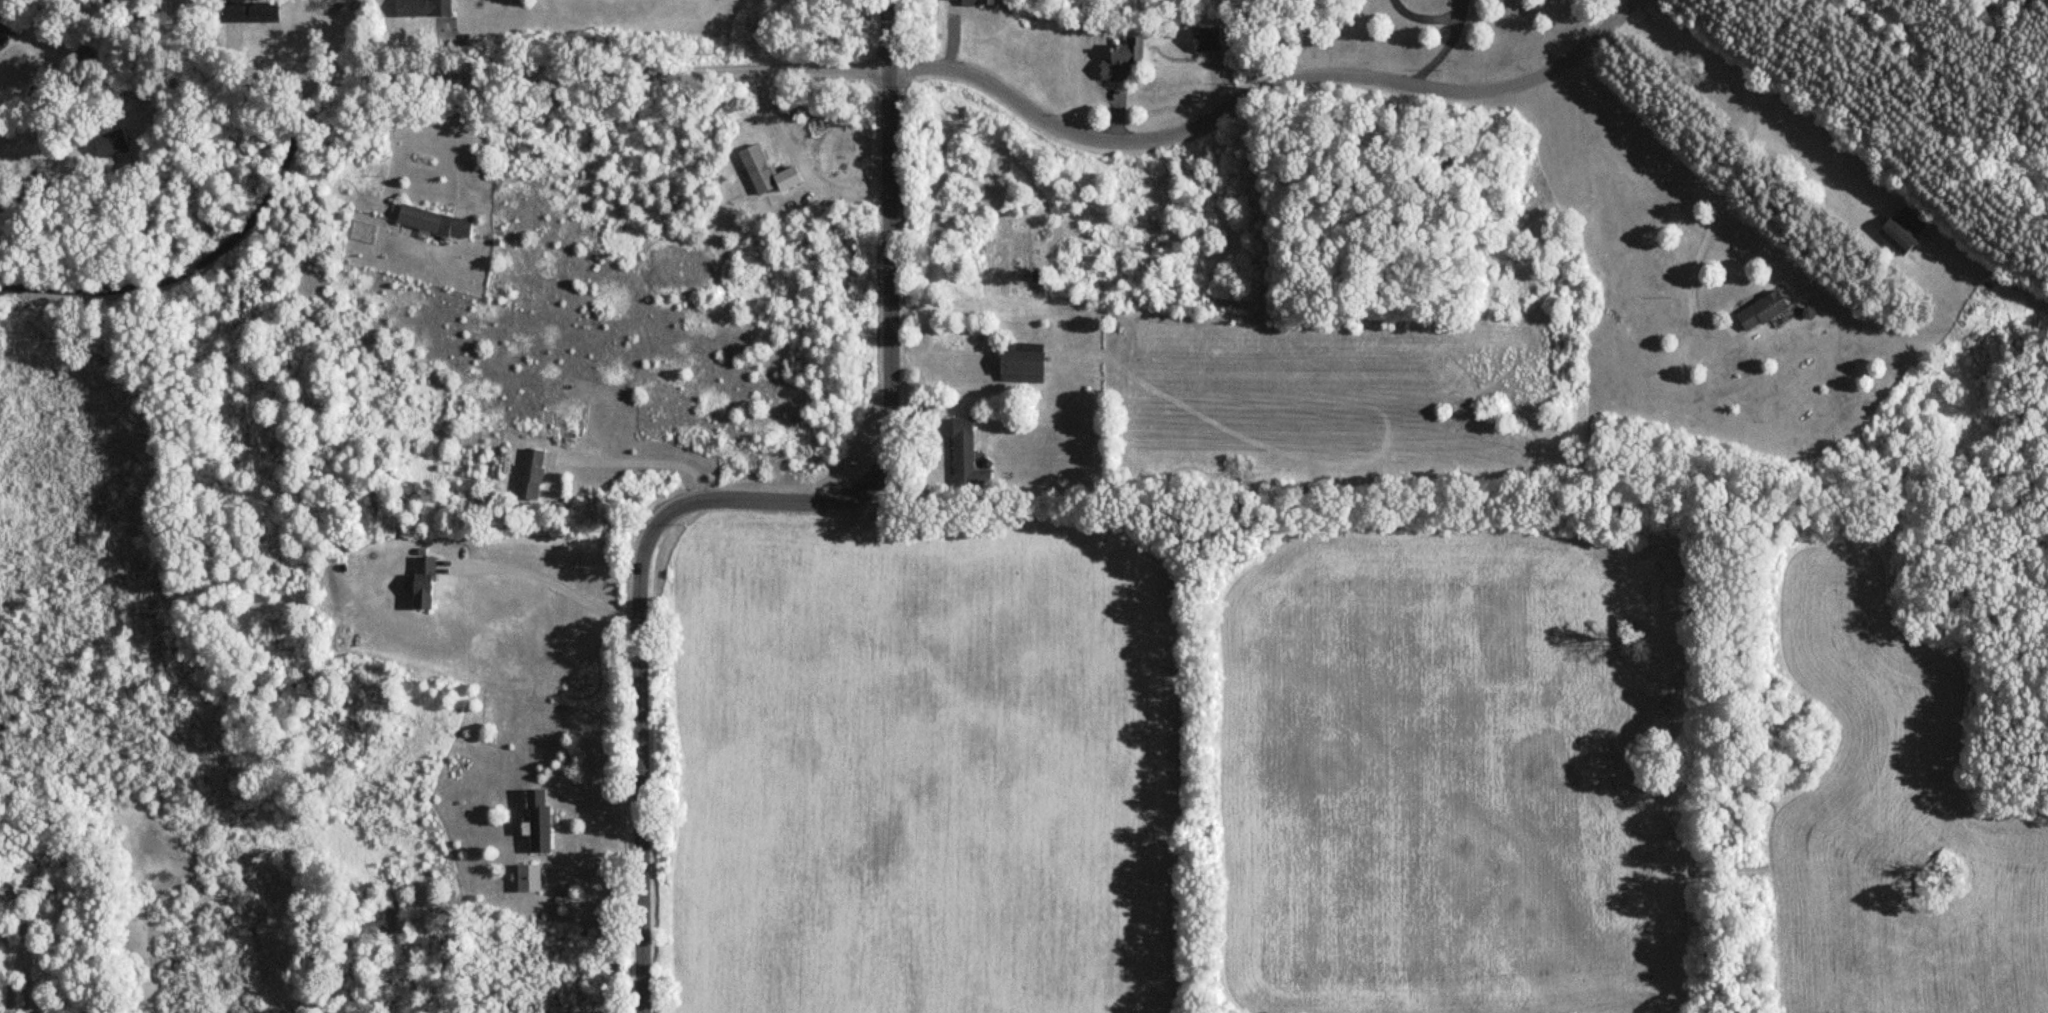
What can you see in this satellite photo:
building: (969, 2)
building: (419, 8)
building: (261, 11)
building: (230, 12)
building: (9, 26)
building: (1203, 39)
road: (1439, 47)
building: (1119, 60)
road: (504, 76)
road: (92, 80)
road: (176, 84)
road: (1265, 93)
road: (79, 126)
road: (457, 134)
building: (105, 144)
road: (793, 163)
road: (1732, 165)
building: (754, 169)
building: (431, 222)
building: (1895, 235)
road: (208, 261)
building: (1759, 311)
building: (1018, 366)
building: (964, 456)
road: (642, 462)
building: (527, 474)
road: (760, 501)
road: (552, 580)
building: (419, 582)
building: (534, 822)
building: (525, 879)

